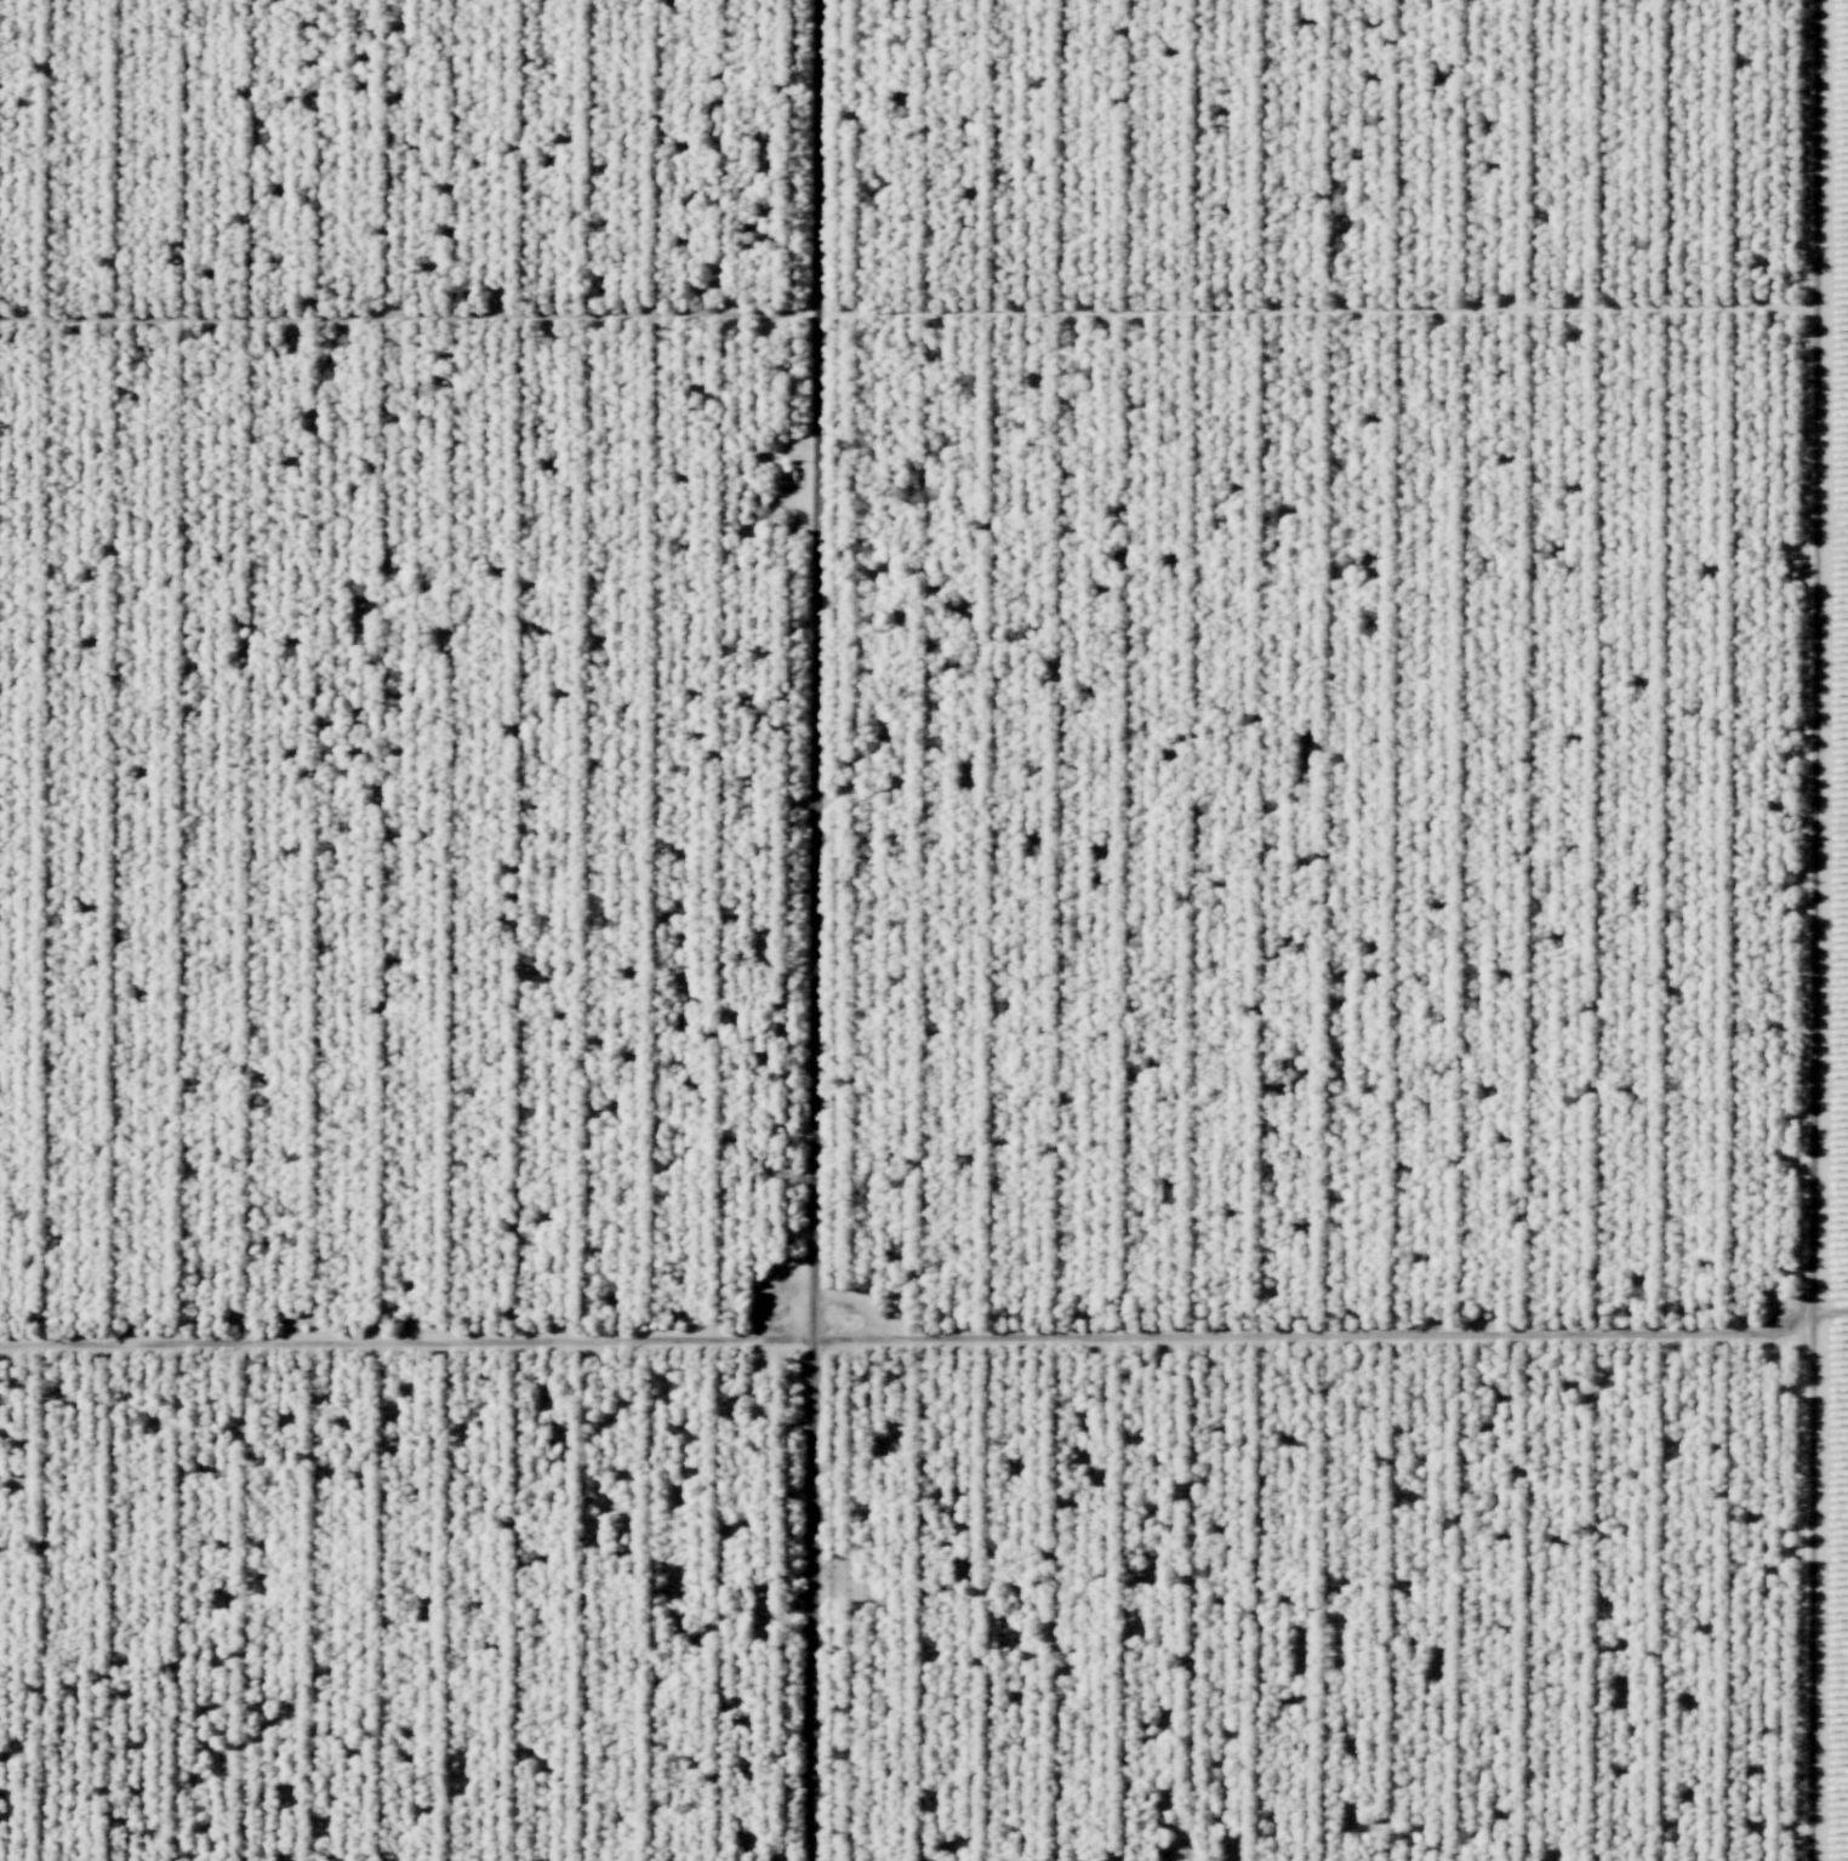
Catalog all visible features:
road: (1816, 1100)

